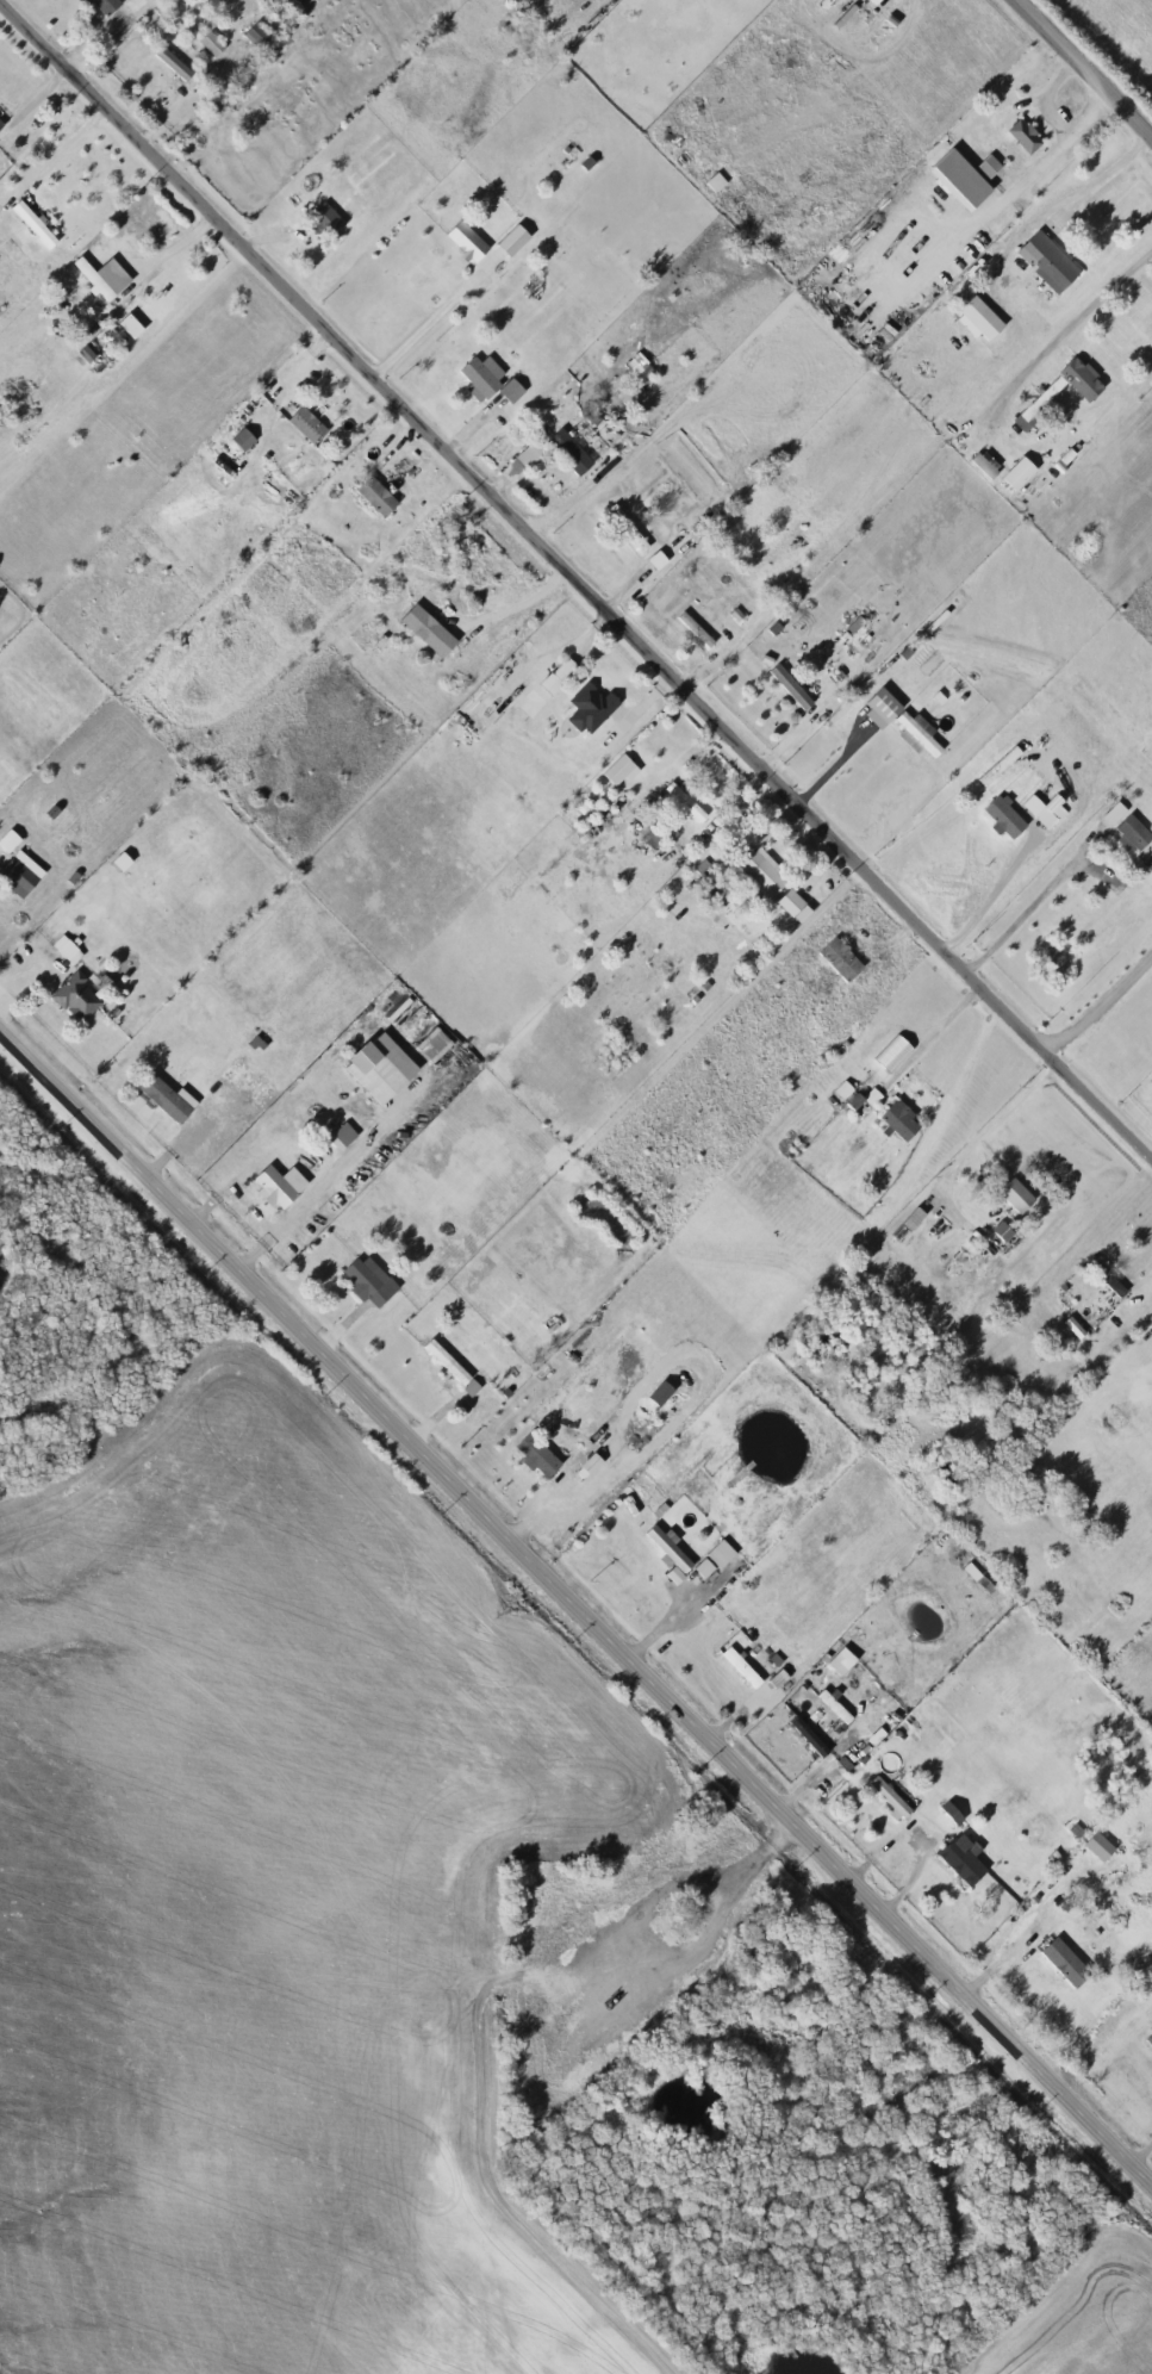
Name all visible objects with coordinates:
road: (888, 0)
building: (873, 2)
building: (112, 6)
building: (262, 37)
building: (217, 45)
building: (178, 66)
road: (52, 68)
road: (1081, 70)
road: (1052, 97)
road: (170, 113)
building: (4, 126)
building: (992, 129)
road: (55, 149)
building: (988, 169)
road: (1095, 178)
road: (1016, 184)
building: (711, 185)
building: (323, 217)
road: (272, 228)
road: (169, 243)
building: (1045, 265)
building: (99, 280)
building: (79, 303)
road: (431, 306)
building: (144, 316)
building: (977, 321)
road: (1069, 322)
building: (485, 380)
building: (1058, 394)
road: (468, 425)
building: (305, 428)
building: (242, 442)
building: (566, 454)
road: (512, 460)
building: (1015, 477)
building: (373, 498)
road: (572, 503)
building: (624, 530)
building: (782, 546)
road: (625, 573)
road: (577, 577)
road: (513, 609)
building: (692, 632)
road: (580, 639)
road: (702, 658)
building: (785, 689)
building: (541, 710)
building: (590, 711)
building: (908, 731)
road: (784, 733)
road: (834, 760)
building: (683, 796)
building: (1053, 813)
building: (1001, 820)
building: (1128, 834)
road: (821, 860)
building: (1147, 868)
building: (760, 875)
building: (20, 878)
road: (994, 883)
road: (1020, 908)
building: (791, 909)
building: (73, 953)
building: (839, 962)
road: (1096, 992)
building: (81, 998)
road: (933, 1024)
building: (366, 1058)
building: (168, 1098)
road: (1135, 1108)
building: (899, 1124)
road: (969, 1141)
road: (326, 1183)
building: (278, 1188)
building: (1015, 1198)
building: (1002, 1235)
building: (374, 1282)
road: (1145, 1285)
road: (337, 1324)
building: (452, 1369)
road: (1144, 1417)
road: (431, 1418)
building: (537, 1458)
road: (531, 1499)
building: (670, 1554)
building: (709, 1567)
road: (574, 1603)
building: (742, 1670)
road: (727, 1715)
building: (809, 1739)
building: (893, 1798)
road: (877, 1842)
road: (749, 1856)
building: (960, 1865)
road: (1007, 1949)
building: (1064, 1964)
building: (1148, 2043)
road: (1139, 2143)

